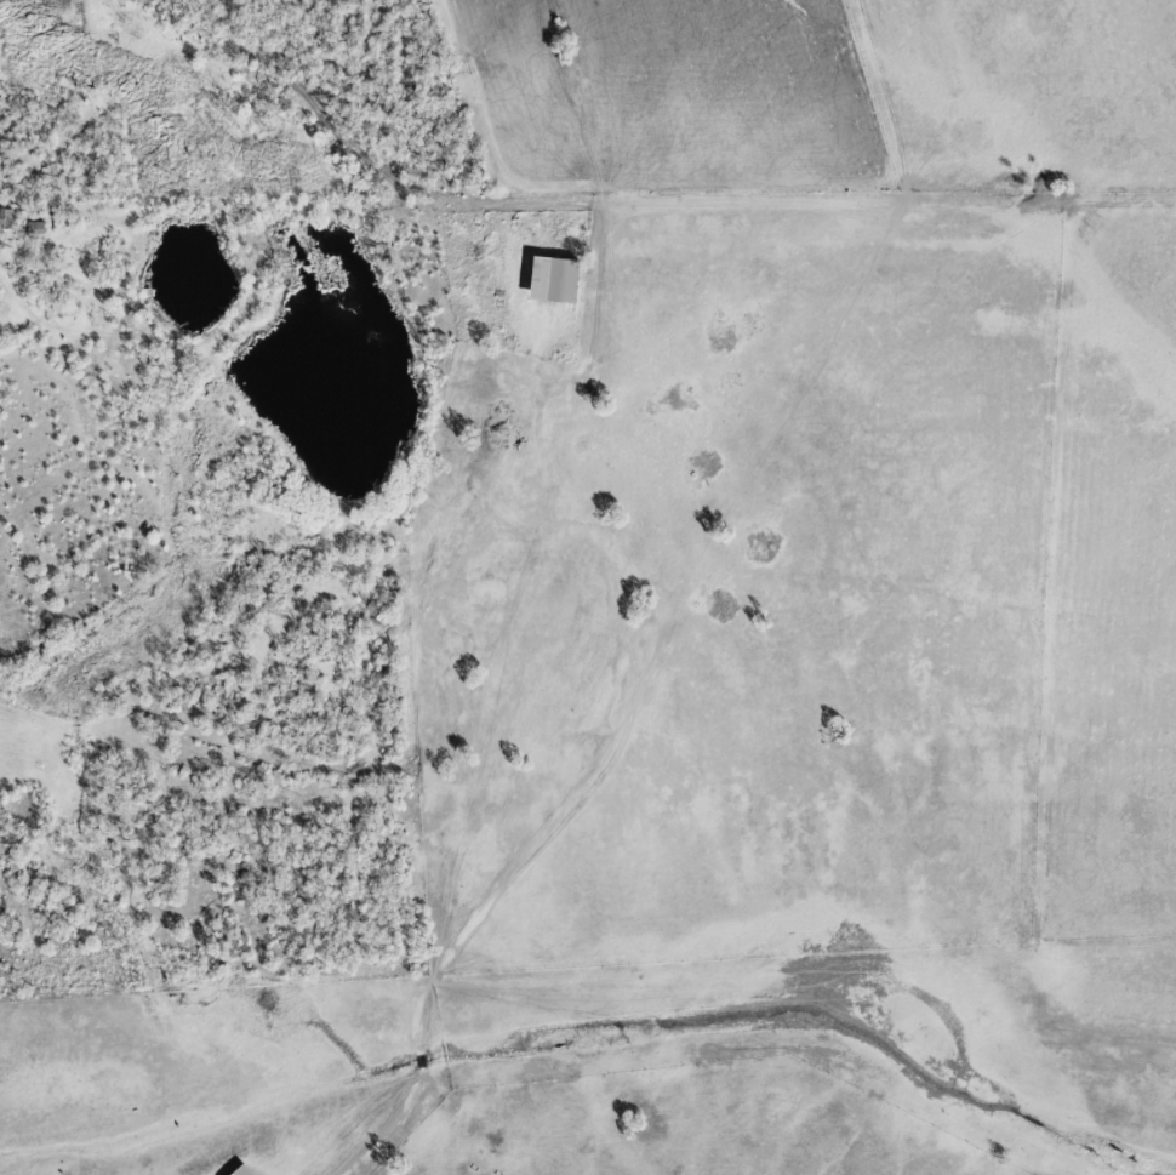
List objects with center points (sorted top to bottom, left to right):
building: (6, 219)
building: (553, 280)
building: (244, 1170)

